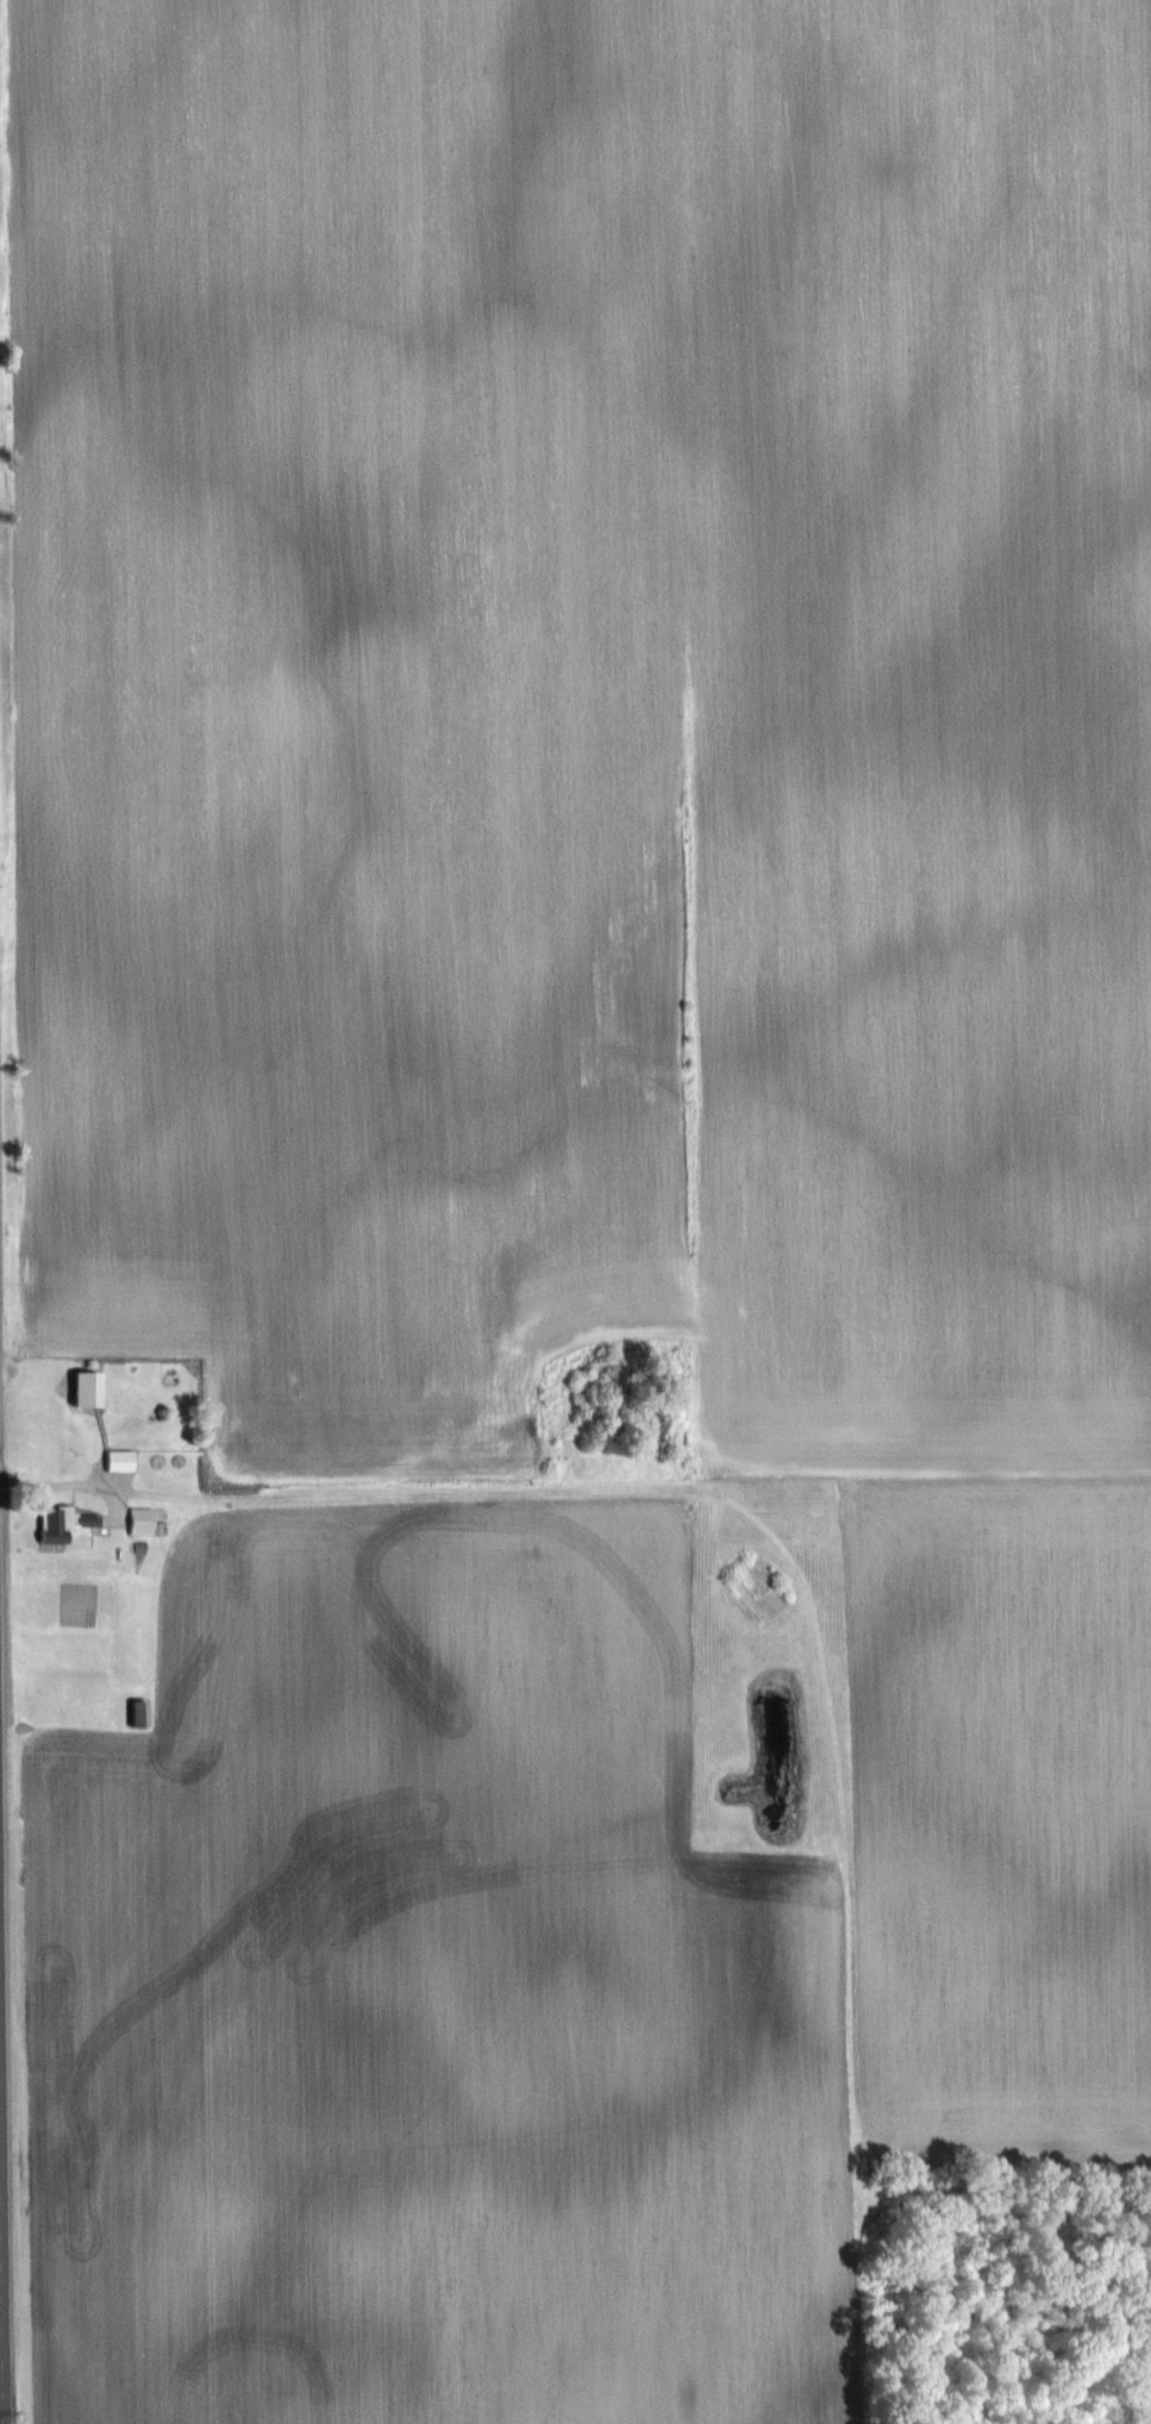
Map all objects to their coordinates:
building: (126, 1460)
building: (145, 1520)
building: (62, 1524)
building: (133, 1712)
road: (2, 2226)
road: (1, 2279)

